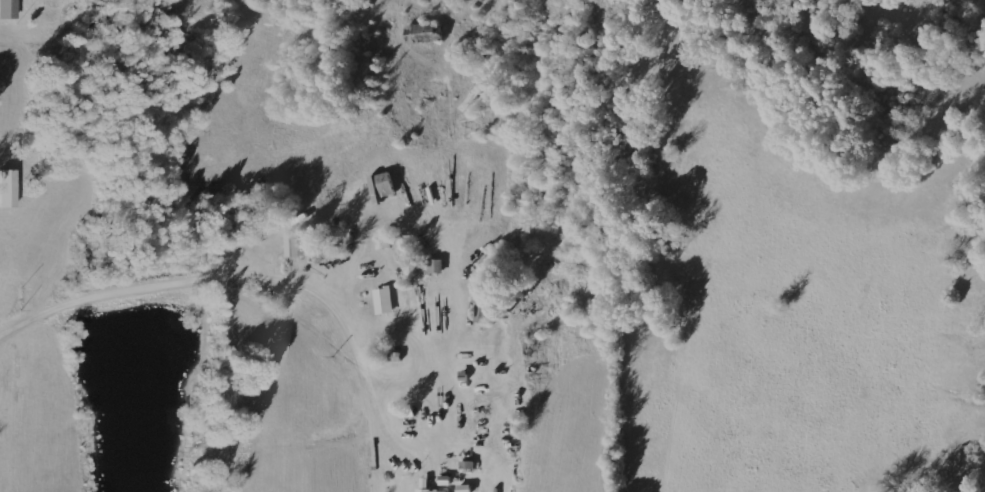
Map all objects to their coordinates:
building: (9, 9)
building: (390, 183)
building: (8, 188)
building: (297, 243)
road: (239, 270)
building: (386, 299)
building: (431, 486)

